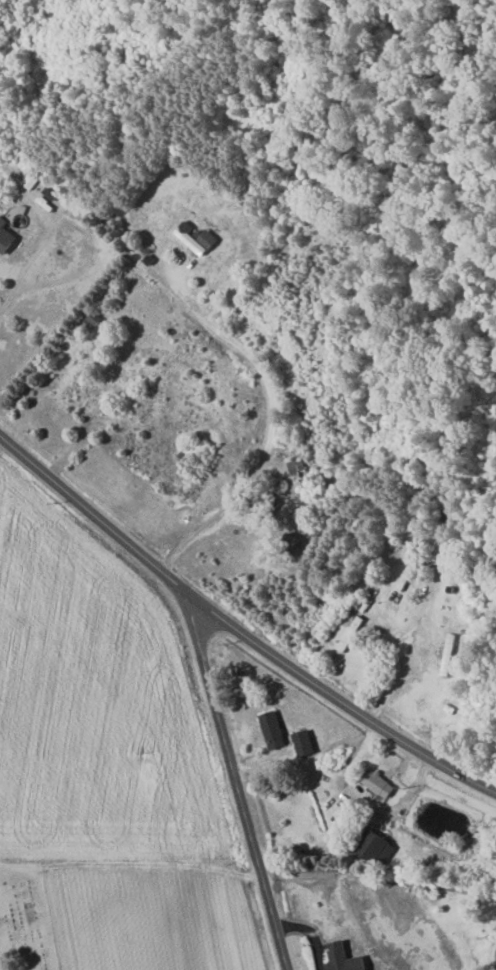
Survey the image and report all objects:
building: (31, 181)
building: (6, 237)
building: (198, 238)
road: (22, 275)
road: (270, 428)
road: (234, 633)
road: (408, 644)
building: (274, 729)
building: (305, 743)
building: (379, 783)
road: (233, 784)
building: (376, 847)
park: (23, 920)
building: (345, 958)

